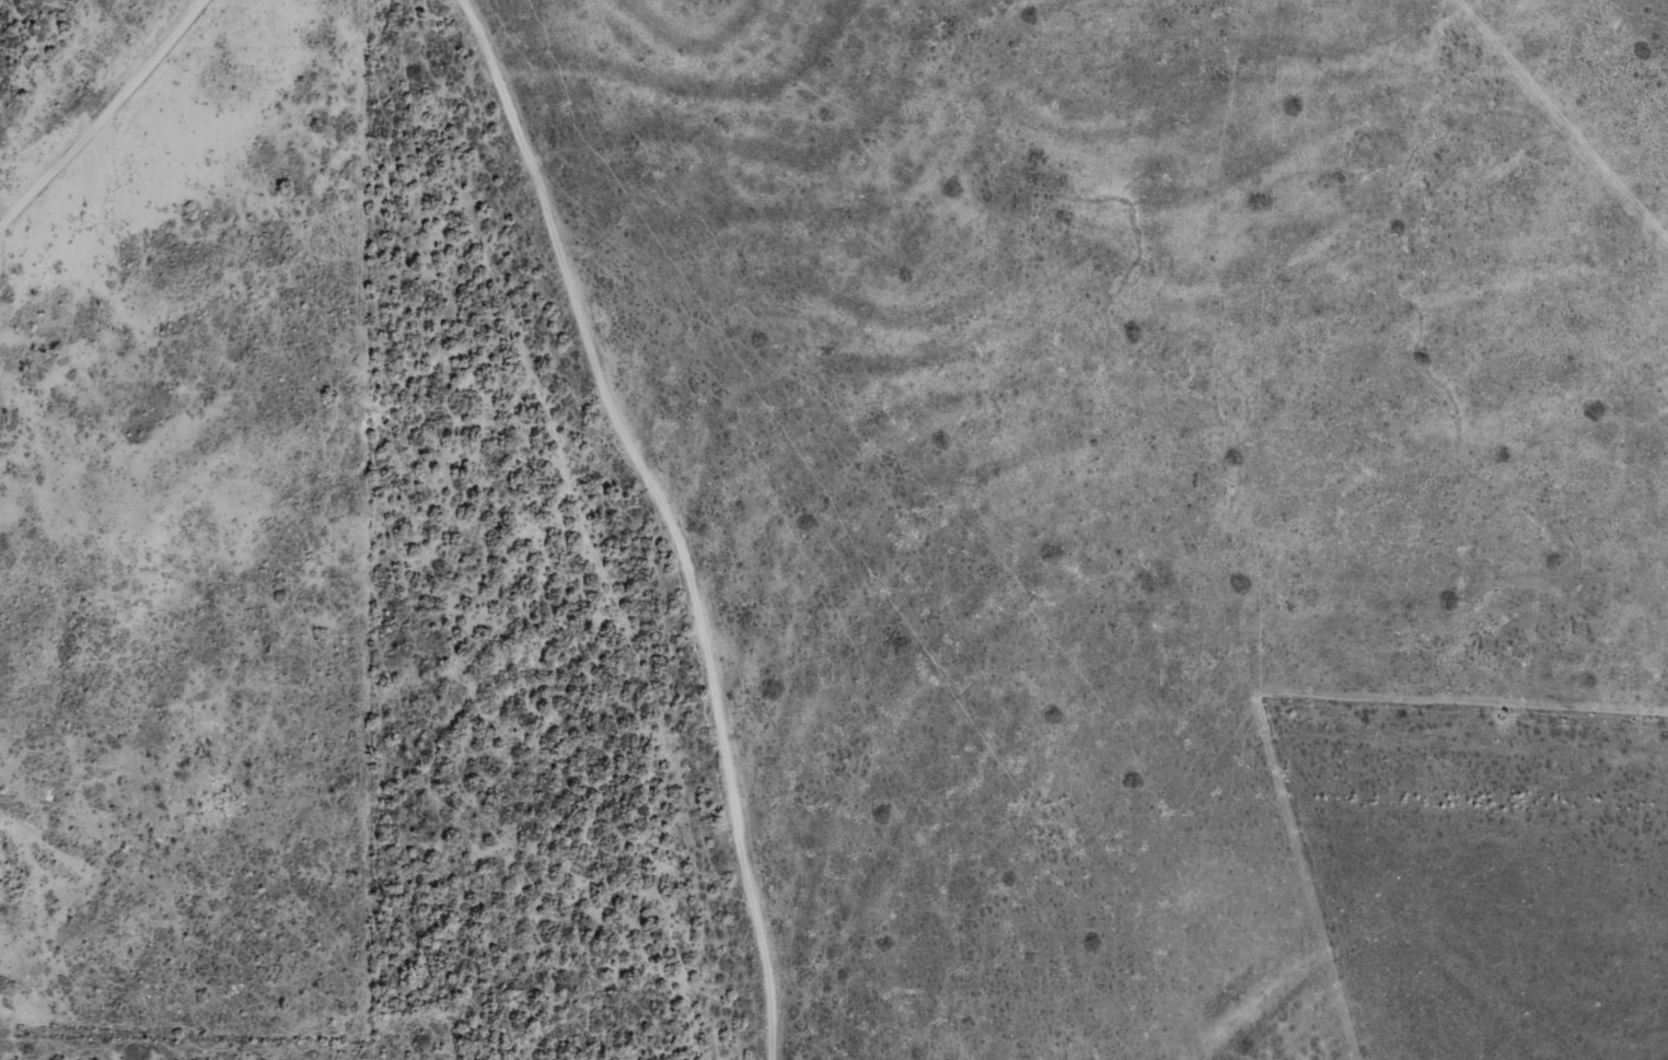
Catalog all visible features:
road: (60, 81)
road: (581, 522)

